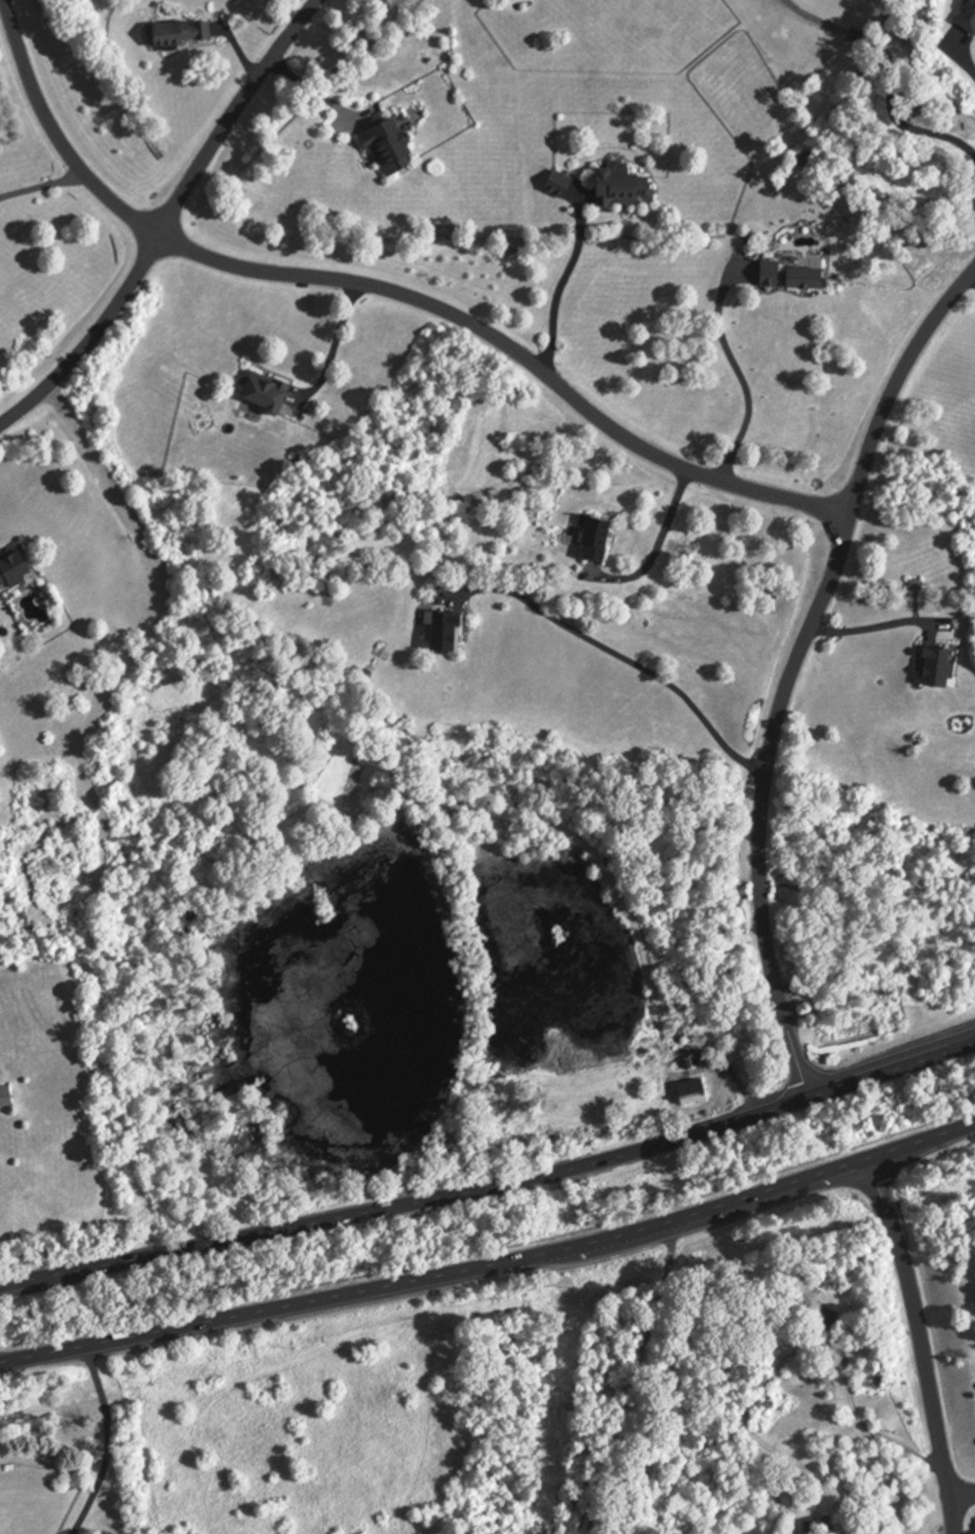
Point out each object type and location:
building: (966, 17)
building: (172, 33)
road: (965, 61)
road: (887, 73)
road: (310, 91)
road: (231, 115)
building: (383, 148)
building: (799, 160)
road: (40, 186)
building: (620, 188)
building: (786, 275)
road: (561, 279)
road: (379, 292)
road: (90, 341)
road: (332, 347)
road: (736, 370)
building: (260, 394)
building: (589, 539)
road: (657, 543)
building: (9, 568)
road: (871, 625)
building: (440, 633)
road: (622, 659)
building: (932, 667)
road: (790, 670)
building: (687, 1093)
building: (2, 1098)
road: (492, 1189)
road: (491, 1263)
building: (823, 1319)
road: (916, 1346)
road: (860, 1422)
road: (106, 1441)
road: (959, 1498)
building: (818, 1526)

